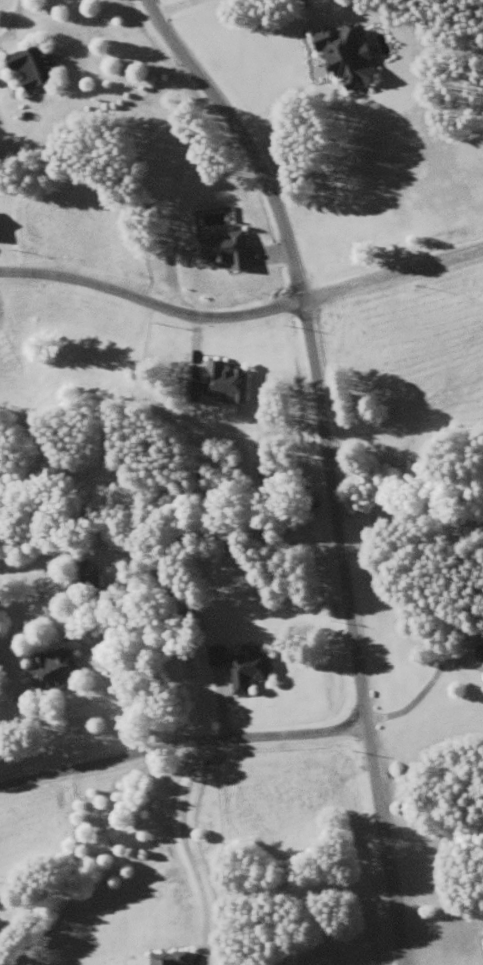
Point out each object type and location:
road: (18, 17)
building: (37, 67)
road: (242, 317)
road: (327, 462)
building: (87, 582)
building: (481, 641)
building: (248, 669)
building: (53, 672)
road: (180, 747)
building: (168, 959)

